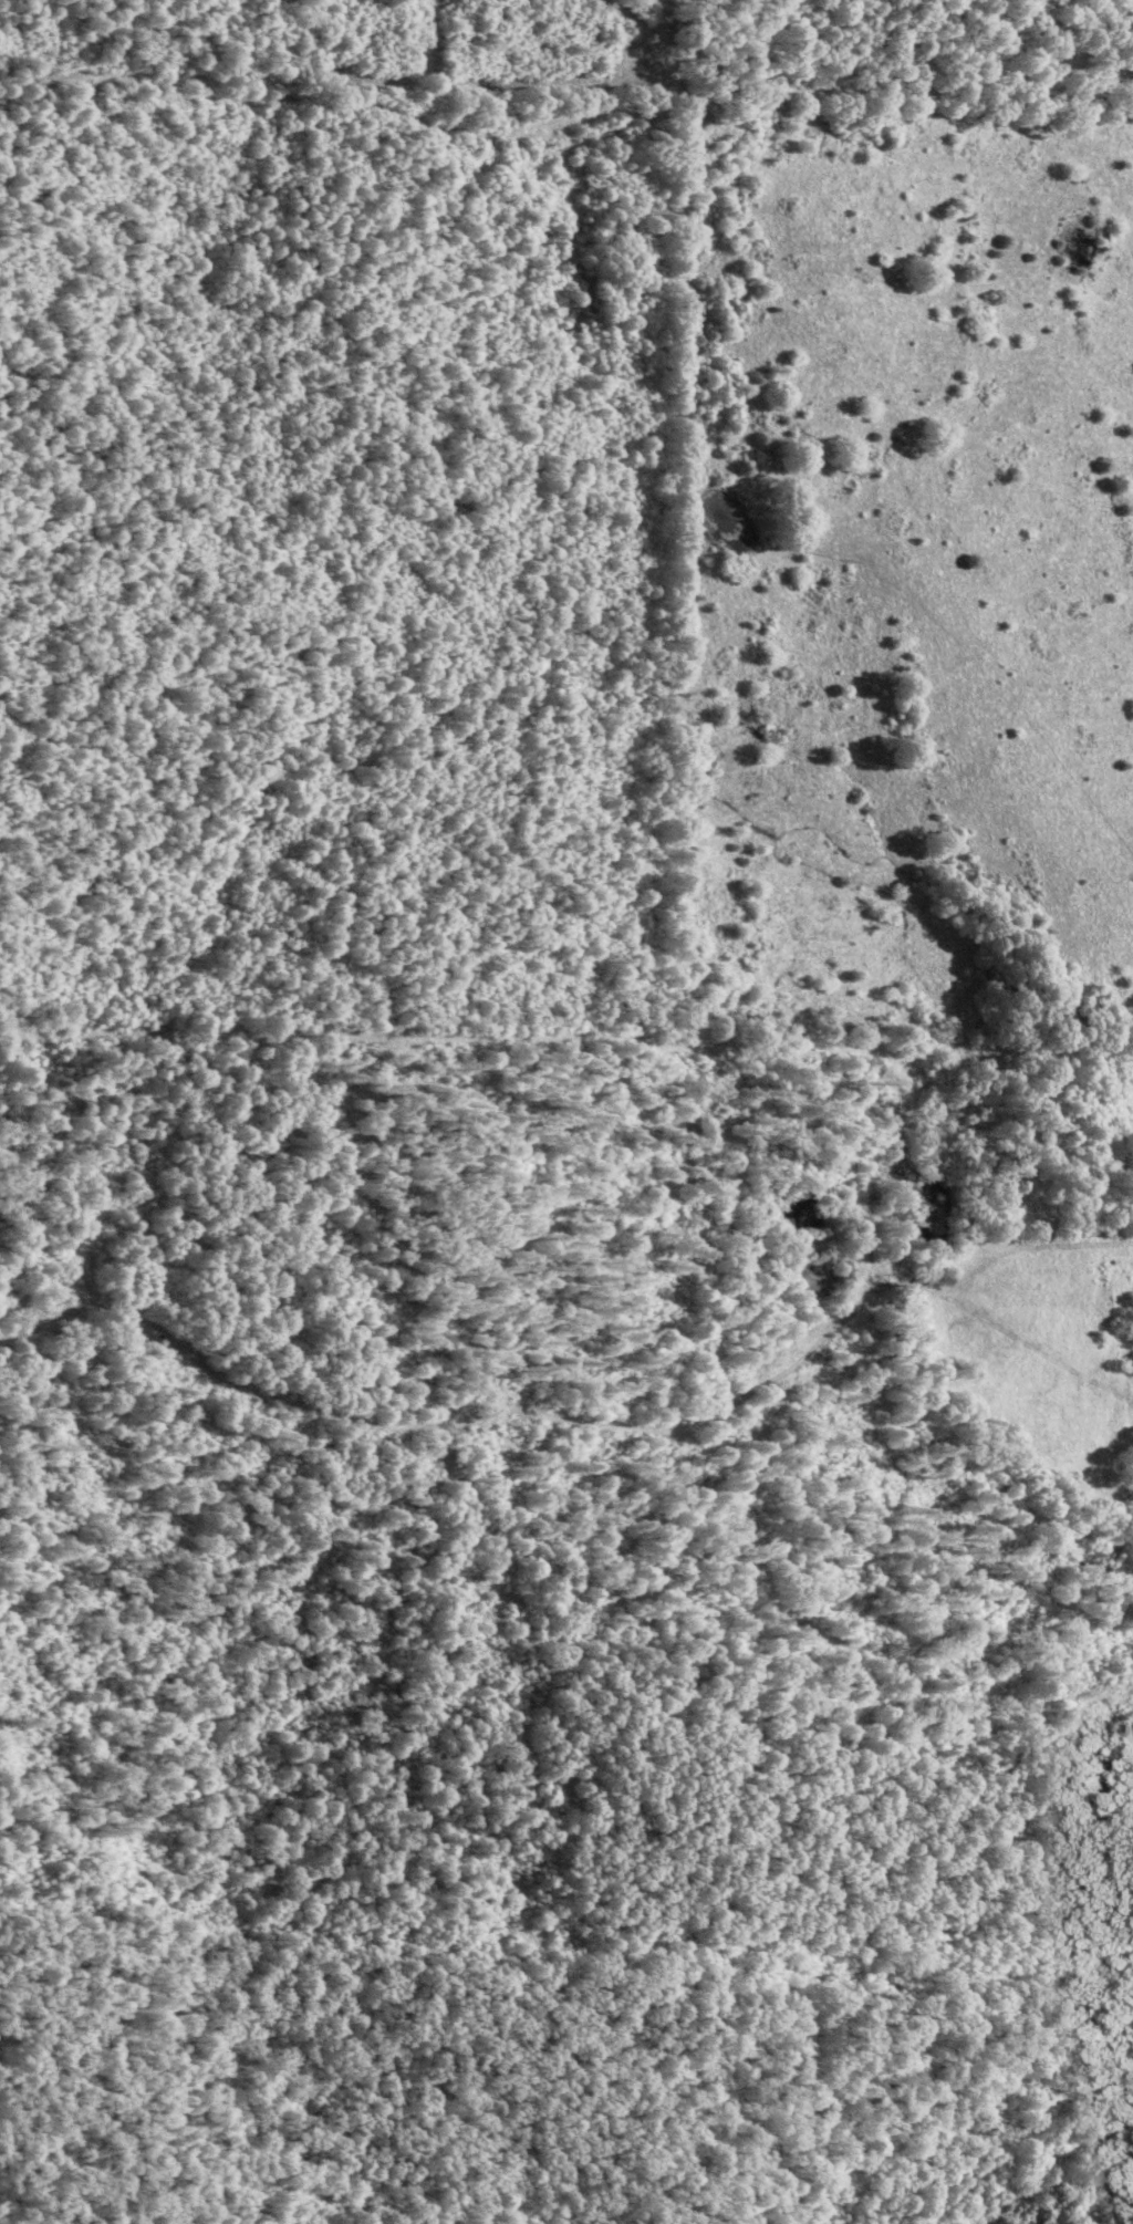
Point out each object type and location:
road: (907, 98)

